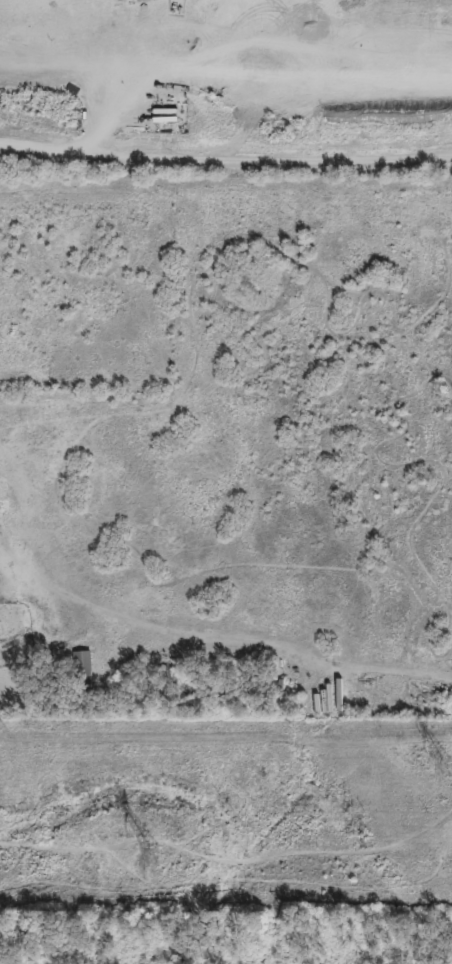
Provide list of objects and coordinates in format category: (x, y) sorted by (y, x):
road: (225, 161)
building: (80, 671)
building: (307, 701)
building: (323, 701)
building: (352, 704)
power tower: (443, 767)
power tower: (151, 855)

